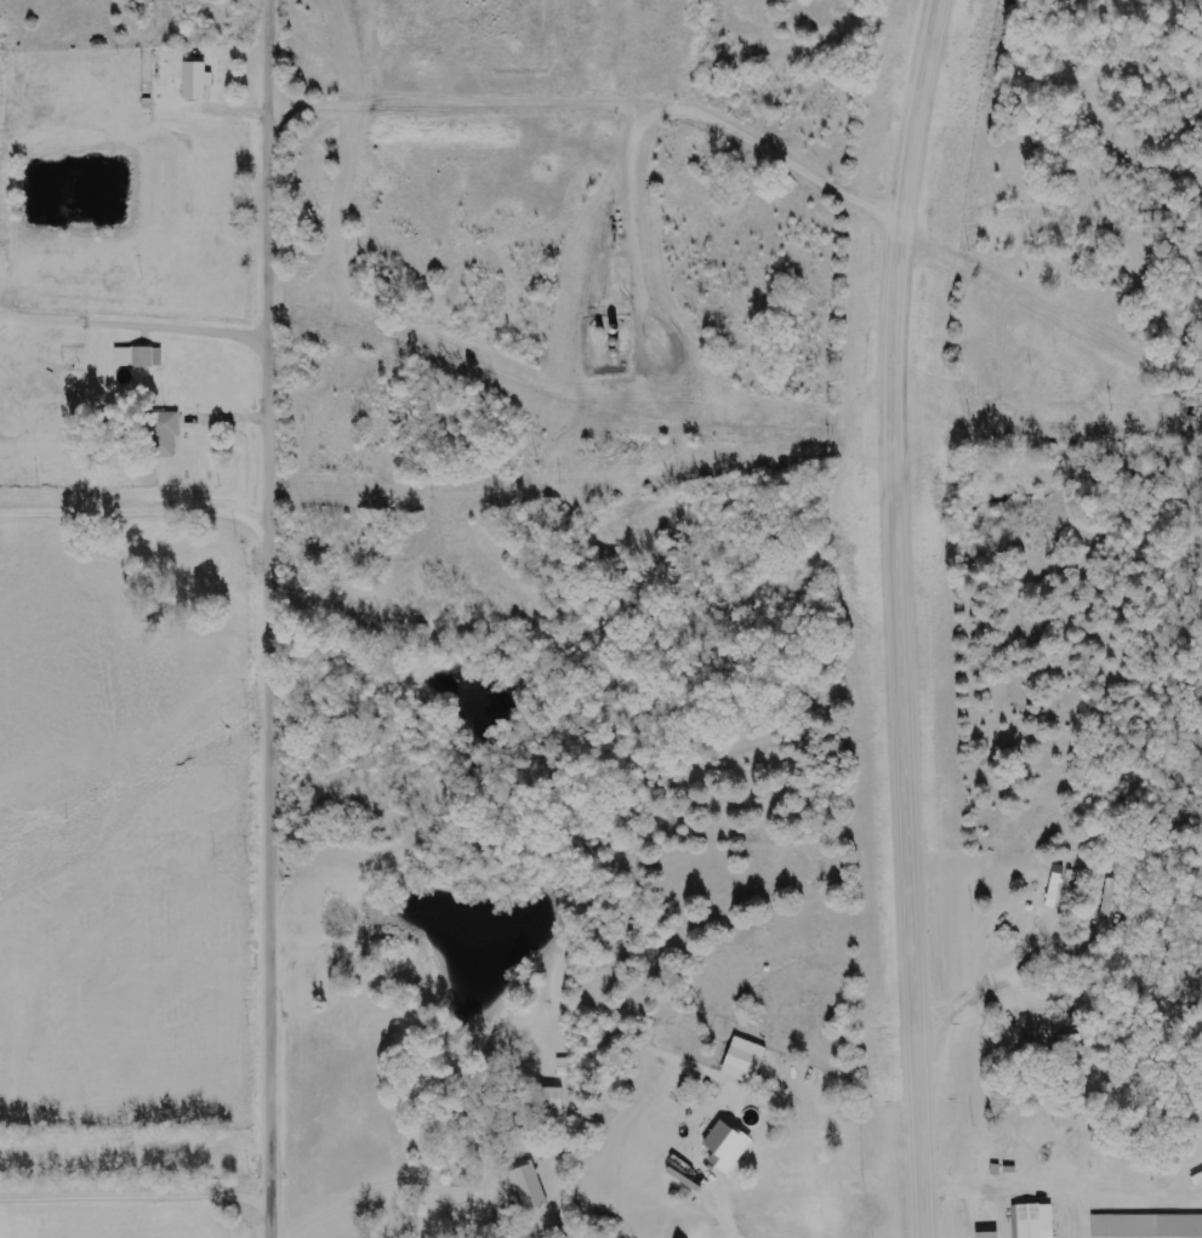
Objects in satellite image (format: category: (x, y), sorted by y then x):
building: (195, 80)
building: (137, 358)
building: (160, 434)
road: (900, 617)
road: (278, 618)
building: (742, 1060)
building: (725, 1147)
building: (528, 1186)
road: (139, 1188)
building: (1032, 1221)
building: (1146, 1226)
building: (986, 1236)

